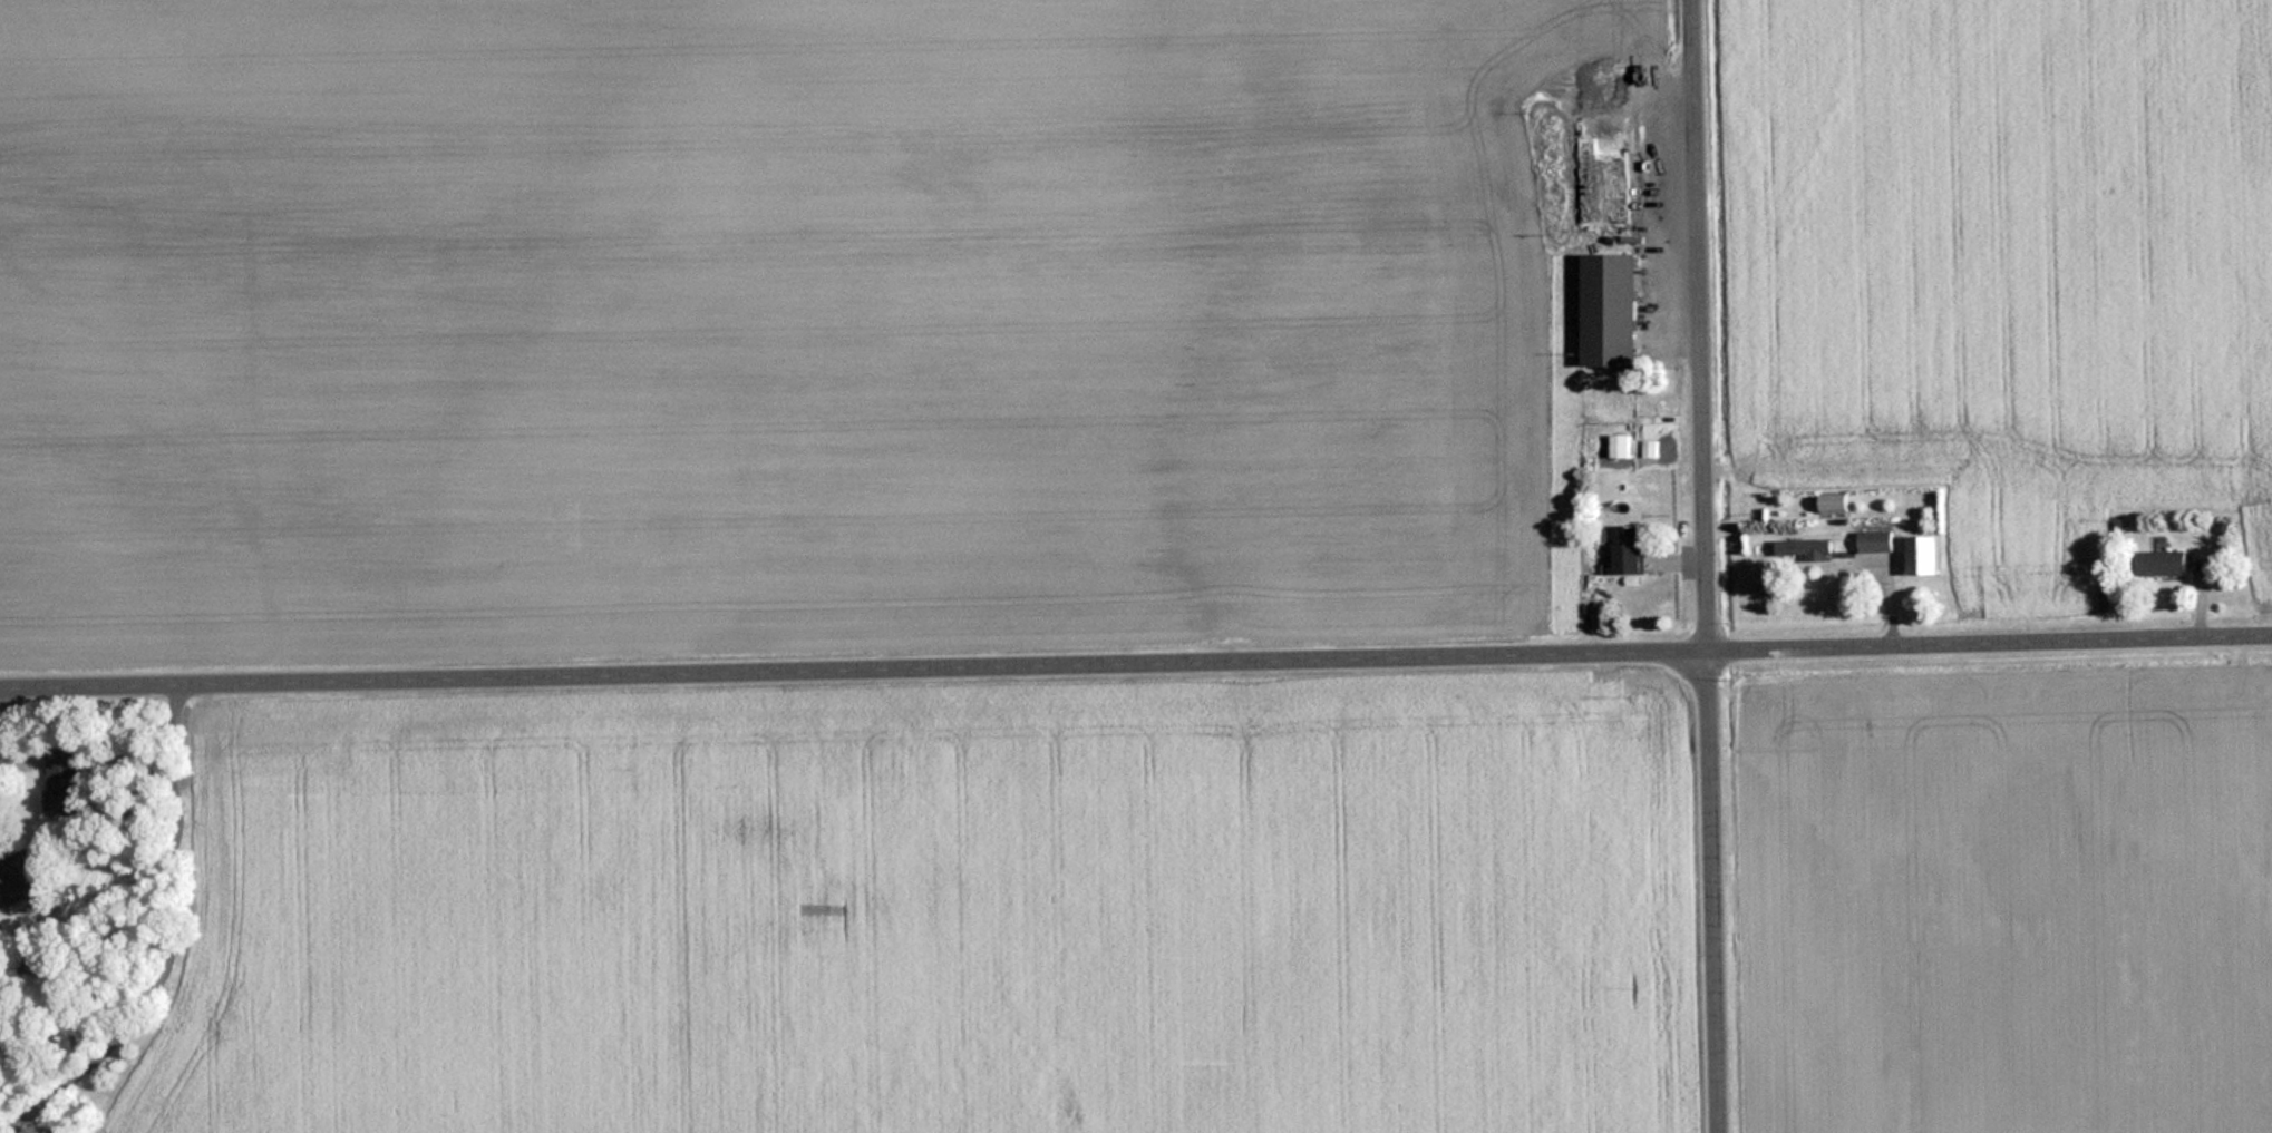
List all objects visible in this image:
building: (1590, 126)
building: (1652, 148)
building: (1611, 310)
building: (1835, 505)
building: (1876, 541)
building: (1814, 549)
building: (1630, 550)
building: (1924, 556)
building: (2163, 564)
road: (1713, 566)
road: (1136, 660)
road: (7, 722)
building: (65, 783)
building: (19, 880)

